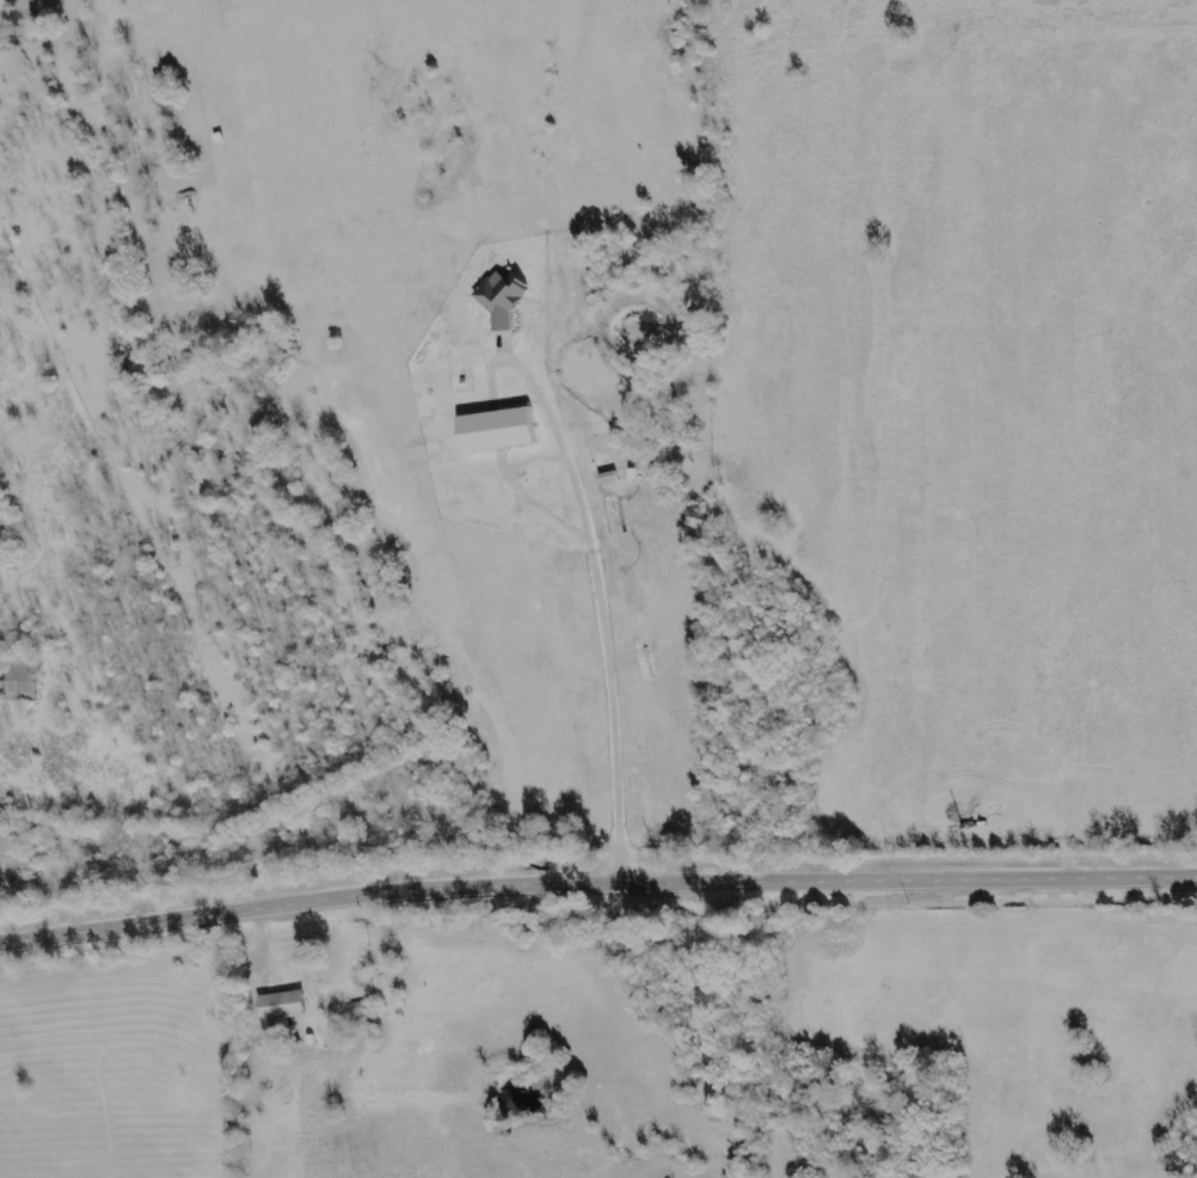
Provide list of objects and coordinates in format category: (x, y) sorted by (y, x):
building: (504, 297)
building: (502, 430)
building: (22, 686)
road: (596, 884)
building: (284, 1008)

